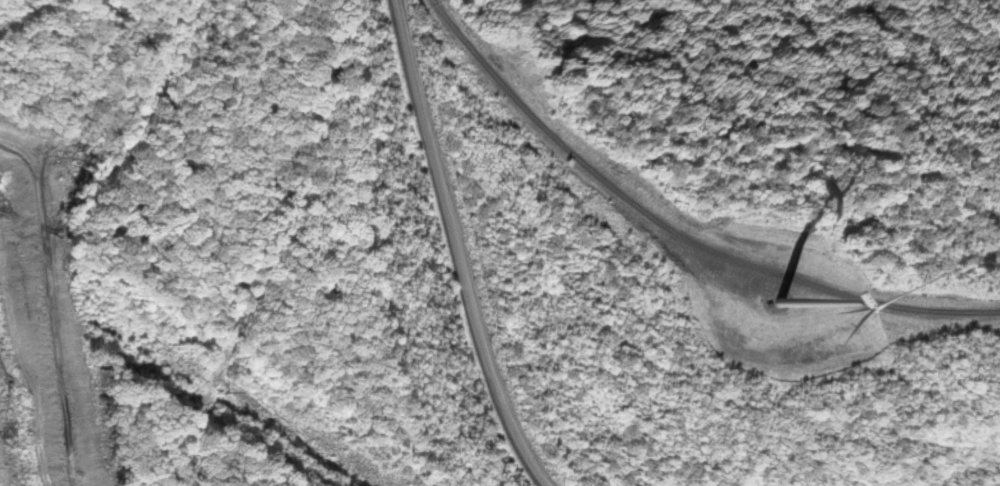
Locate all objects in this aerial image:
road: (470, 239)
wind turbine: (780, 300)

